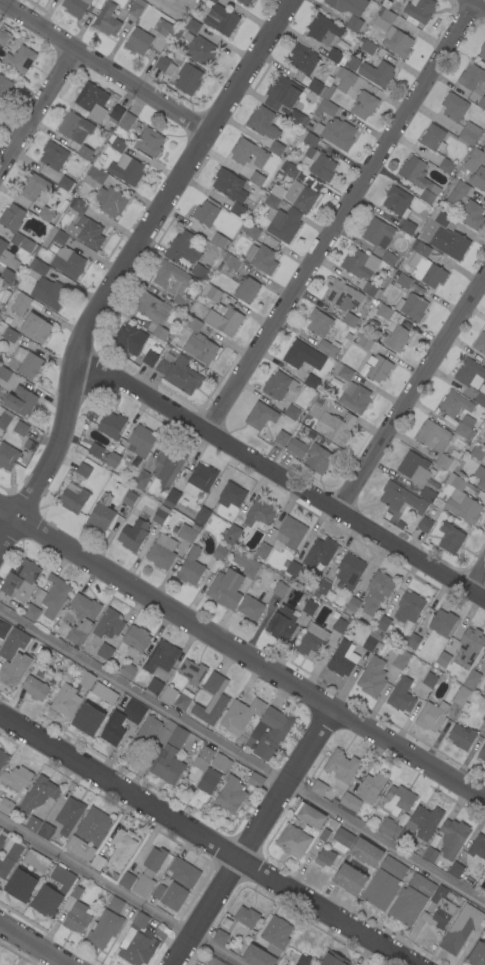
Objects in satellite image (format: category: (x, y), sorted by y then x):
road: (171, 0)
building: (399, 1)
building: (245, 2)
road: (479, 3)
road: (1, 4)
building: (96, 4)
building: (348, 6)
building: (75, 7)
building: (136, 8)
building: (420, 10)
building: (221, 19)
building: (384, 19)
building: (107, 20)
building: (190, 24)
building: (354, 24)
building: (165, 27)
building: (324, 29)
building: (3, 39)
building: (138, 41)
building: (397, 42)
building: (342, 46)
building: (368, 47)
building: (199, 49)
building: (482, 51)
building: (333, 55)
building: (19, 59)
building: (302, 59)
building: (352, 63)
building: (165, 65)
road: (103, 67)
building: (377, 73)
building: (473, 79)
building: (345, 80)
building: (188, 81)
building: (316, 87)
building: (5, 88)
building: (282, 93)
building: (92, 101)
building: (481, 103)
building: (326, 104)
building: (363, 105)
building: (454, 107)
road: (37, 108)
building: (116, 113)
building: (297, 118)
building: (126, 121)
building: (262, 123)
building: (74, 127)
building: (484, 132)
building: (336, 133)
building: (469, 133)
building: (484, 133)
building: (433, 138)
building: (149, 142)
building: (118, 145)
building: (276, 148)
building: (84, 152)
building: (248, 153)
building: (53, 155)
building: (316, 158)
building: (447, 167)
building: (289, 169)
building: (467, 169)
building: (126, 170)
building: (419, 178)
building: (256, 179)
building: (65, 183)
building: (229, 185)
building: (35, 188)
building: (104, 192)
building: (276, 193)
building: (457, 193)
building: (291, 194)
building: (302, 196)
building: (271, 201)
building: (397, 201)
building: (78, 206)
building: (237, 209)
building: (205, 213)
building: (45, 214)
building: (471, 215)
road: (341, 216)
building: (284, 225)
building: (408, 227)
building: (17, 228)
building: (251, 231)
building: (86, 232)
building: (377, 232)
building: (443, 236)
building: (54, 237)
building: (218, 240)
building: (182, 248)
building: (4, 254)
building: (261, 258)
building: (388, 258)
building: (68, 262)
building: (233, 263)
building: (359, 263)
road: (124, 265)
building: (38, 267)
building: (426, 267)
building: (199, 271)
building: (8, 276)
building: (236, 276)
building: (171, 277)
building: (401, 279)
building: (247, 290)
building: (371, 290)
building: (50, 293)
building: (213, 293)
building: (4, 295)
building: (343, 296)
building: (179, 302)
building: (20, 303)
building: (412, 307)
building: (152, 308)
building: (384, 311)
building: (223, 319)
building: (349, 319)
building: (194, 324)
building: (36, 328)
building: (323, 332)
building: (160, 333)
building: (10, 335)
building: (126, 336)
building: (348, 336)
building: (396, 336)
building: (364, 341)
building: (21, 342)
building: (480, 343)
building: (200, 348)
building: (146, 356)
building: (303, 361)
building: (25, 363)
building: (162, 366)
building: (378, 368)
building: (343, 372)
building: (470, 373)
building: (4, 375)
building: (182, 376)
building: (278, 385)
road: (412, 394)
building: (480, 396)
building: (354, 398)
building: (20, 400)
building: (324, 403)
building: (454, 404)
building: (292, 412)
building: (260, 416)
building: (5, 419)
building: (484, 420)
building: (111, 425)
building: (335, 427)
building: (465, 427)
building: (20, 428)
building: (484, 435)
building: (281, 438)
building: (141, 439)
building: (436, 442)
building: (29, 445)
building: (296, 447)
building: (484, 447)
building: (90, 450)
building: (477, 452)
building: (7, 456)
building: (113, 459)
building: (317, 459)
building: (168, 464)
building: (414, 468)
building: (83, 470)
road: (281, 476)
building: (480, 476)
building: (141, 479)
building: (199, 479)
building: (432, 485)
building: (427, 494)
building: (231, 495)
building: (172, 496)
building: (401, 498)
building: (129, 499)
building: (73, 500)
building: (460, 500)
building: (259, 512)
building: (101, 513)
building: (160, 515)
building: (201, 517)
building: (425, 524)
building: (290, 532)
building: (187, 533)
building: (231, 534)
building: (133, 535)
building: (450, 538)
building: (263, 550)
building: (162, 551)
building: (219, 553)
building: (319, 555)
building: (246, 564)
building: (191, 567)
building: (292, 570)
building: (350, 571)
road: (477, 577)
building: (21, 579)
building: (275, 586)
building: (322, 587)
building: (225, 589)
building: (377, 592)
building: (55, 596)
building: (353, 604)
building: (251, 606)
building: (84, 607)
building: (310, 607)
building: (409, 607)
building: (31, 612)
building: (442, 622)
building: (282, 623)
building: (108, 624)
building: (339, 625)
building: (381, 625)
building: (4, 629)
building: (78, 633)
building: (136, 639)
building: (413, 640)
building: (311, 641)
building: (371, 641)
building: (15, 643)
building: (470, 645)
building: (105, 651)
building: (160, 658)
road: (241, 659)
building: (443, 659)
building: (342, 661)
building: (400, 661)
building: (484, 663)
building: (14, 668)
building: (128, 671)
building: (191, 672)
building: (372, 677)
building: (471, 679)
building: (86, 680)
building: (429, 680)
building: (154, 687)
building: (484, 687)
building: (35, 689)
building: (104, 693)
building: (167, 695)
building: (401, 695)
building: (461, 696)
building: (183, 699)
building: (212, 699)
building: (65, 701)
building: (240, 715)
building: (431, 715)
building: (88, 718)
building: (483, 718)
building: (121, 720)
building: (146, 731)
building: (164, 732)
building: (269, 733)
building: (462, 736)
building: (177, 737)
building: (482, 753)
road: (241, 756)
building: (2, 758)
building: (203, 758)
building: (220, 762)
building: (167, 765)
building: (341, 768)
building: (16, 778)
building: (209, 781)
building: (254, 782)
building: (318, 788)
building: (370, 788)
building: (37, 795)
building: (230, 795)
building: (397, 800)
building: (348, 803)
building: (6, 806)
building: (67, 814)
building: (311, 816)
building: (426, 821)
building: (32, 824)
building: (46, 826)
building: (93, 826)
building: (389, 828)
building: (324, 834)
building: (404, 835)
building: (452, 838)
road: (195, 839)
road: (247, 839)
building: (1, 840)
building: (342, 840)
building: (293, 841)
building: (477, 847)
building: (79, 848)
building: (122, 848)
building: (418, 851)
building: (366, 852)
building: (430, 854)
building: (9, 856)
building: (324, 857)
building: (36, 860)
building: (97, 862)
building: (393, 867)
building: (455, 870)
building: (149, 872)
building: (184, 872)
building: (111, 874)
building: (350, 879)
building: (126, 880)
building: (20, 885)
building: (422, 885)
building: (380, 890)
road: (121, 891)
building: (76, 892)
building: (158, 892)
building: (52, 893)
building: (173, 896)
building: (115, 905)
building: (407, 906)
building: (439, 911)
building: (77, 917)
building: (246, 917)
building: (141, 920)
building: (103, 929)
building: (461, 929)
building: (484, 929)
building: (276, 935)
building: (220, 937)
road: (30, 946)
building: (136, 947)
building: (477, 955)
building: (258, 956)
building: (332, 959)
building: (304, 960)
building: (214, 961)

